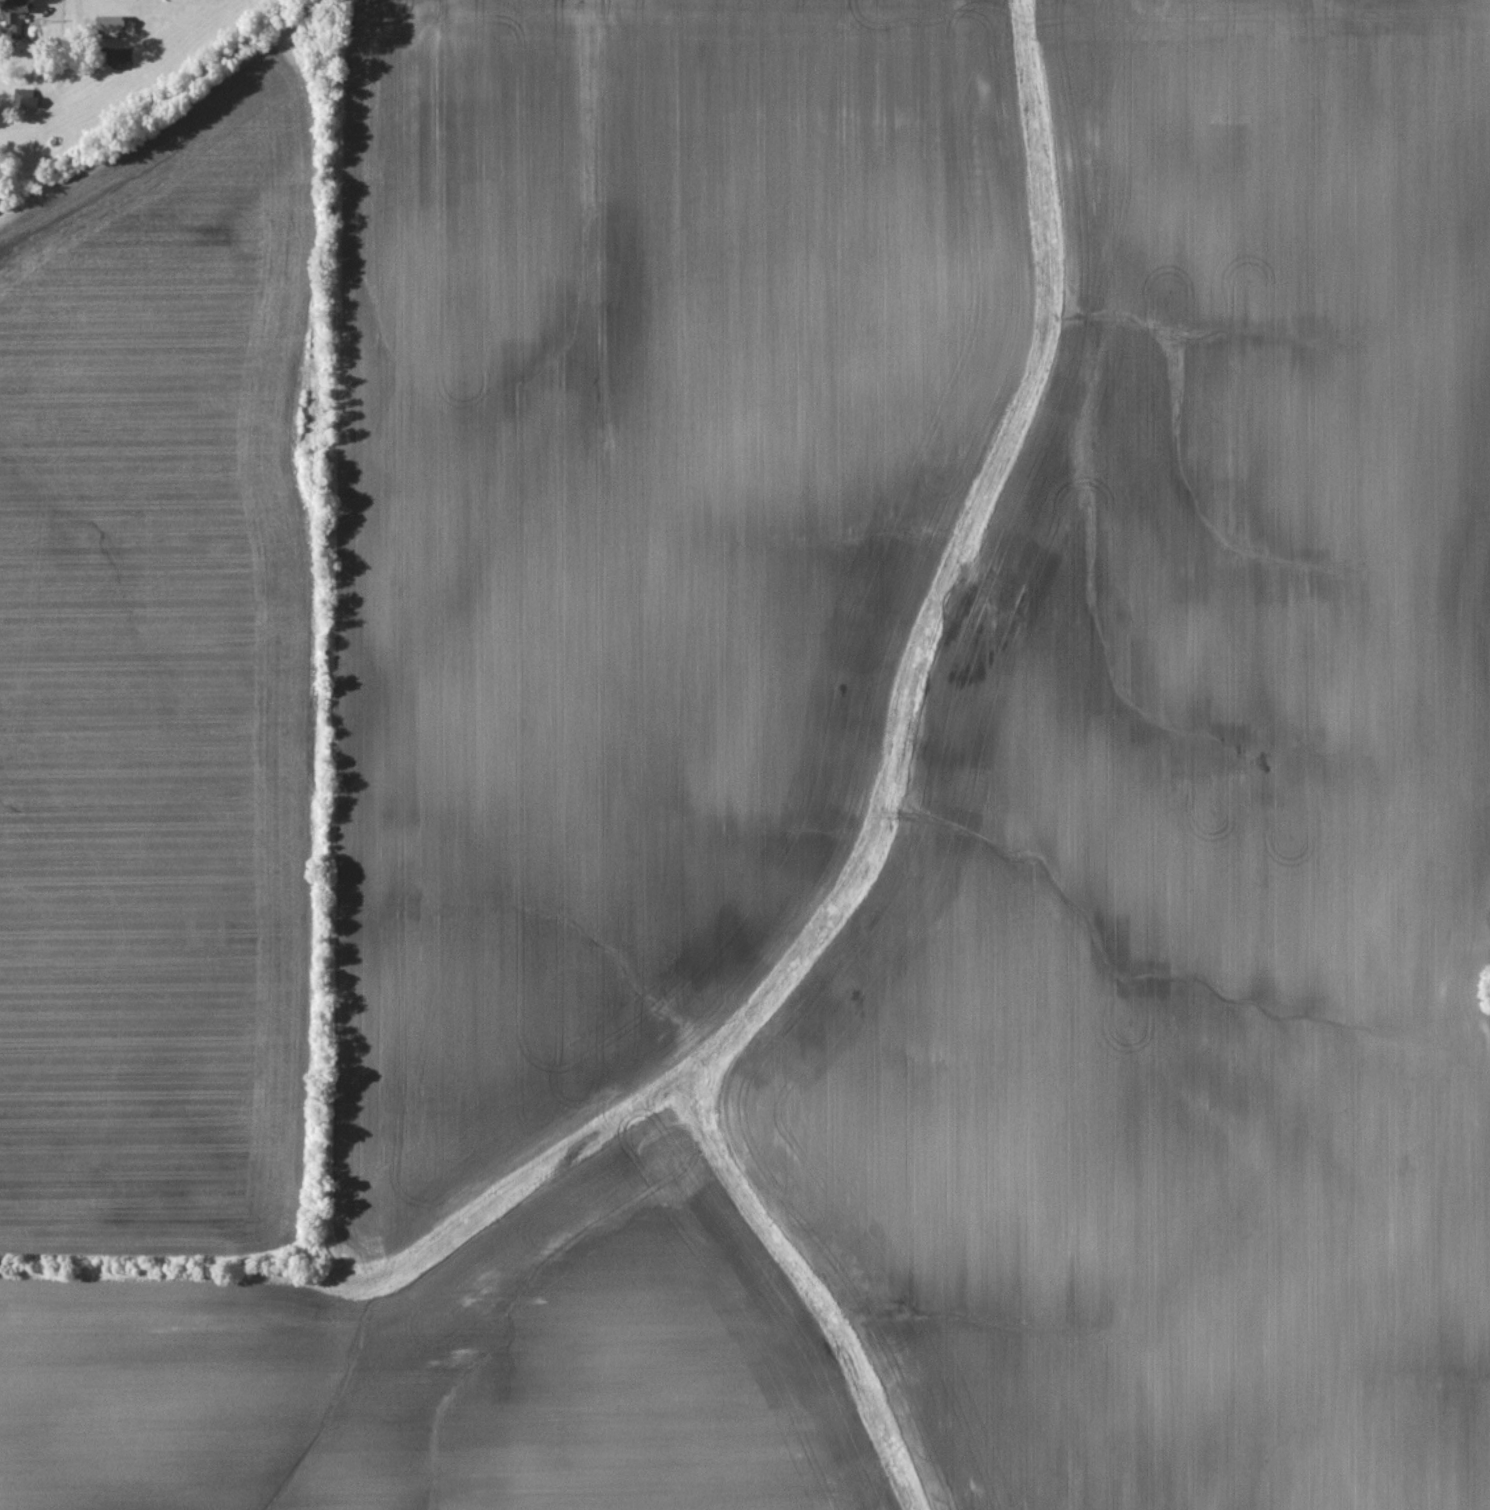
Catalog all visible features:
building: (113, 25)

